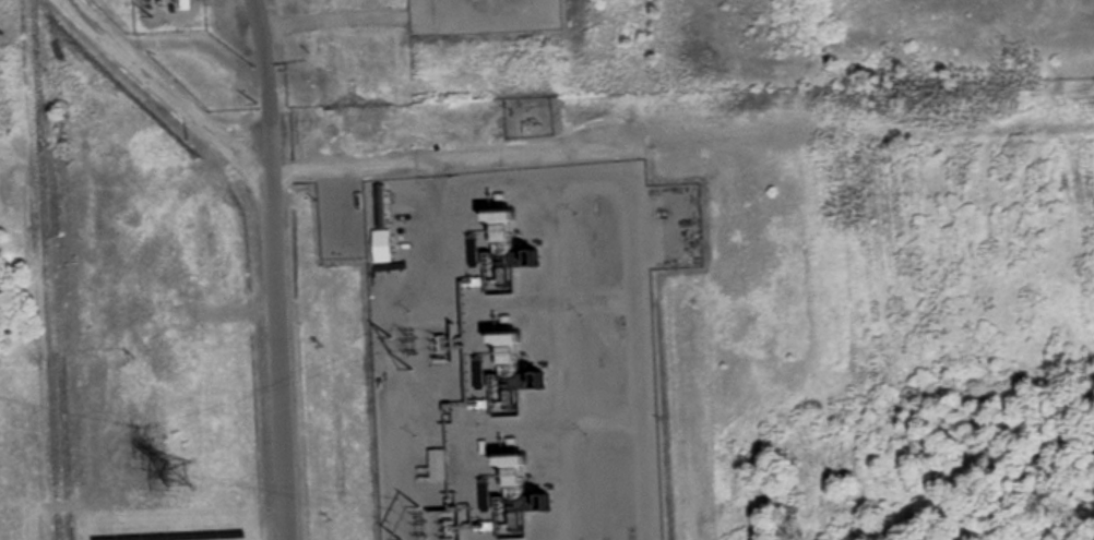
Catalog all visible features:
power substation: (173, 15)
road: (336, 19)
power tower: (4, 35)
road: (165, 87)
building: (380, 247)
chimney: (527, 254)
road: (277, 268)
railway: (41, 269)
power plant: (518, 345)
chimney: (535, 375)
building: (438, 466)
power tower: (185, 470)
chimney: (539, 497)
building: (488, 521)

